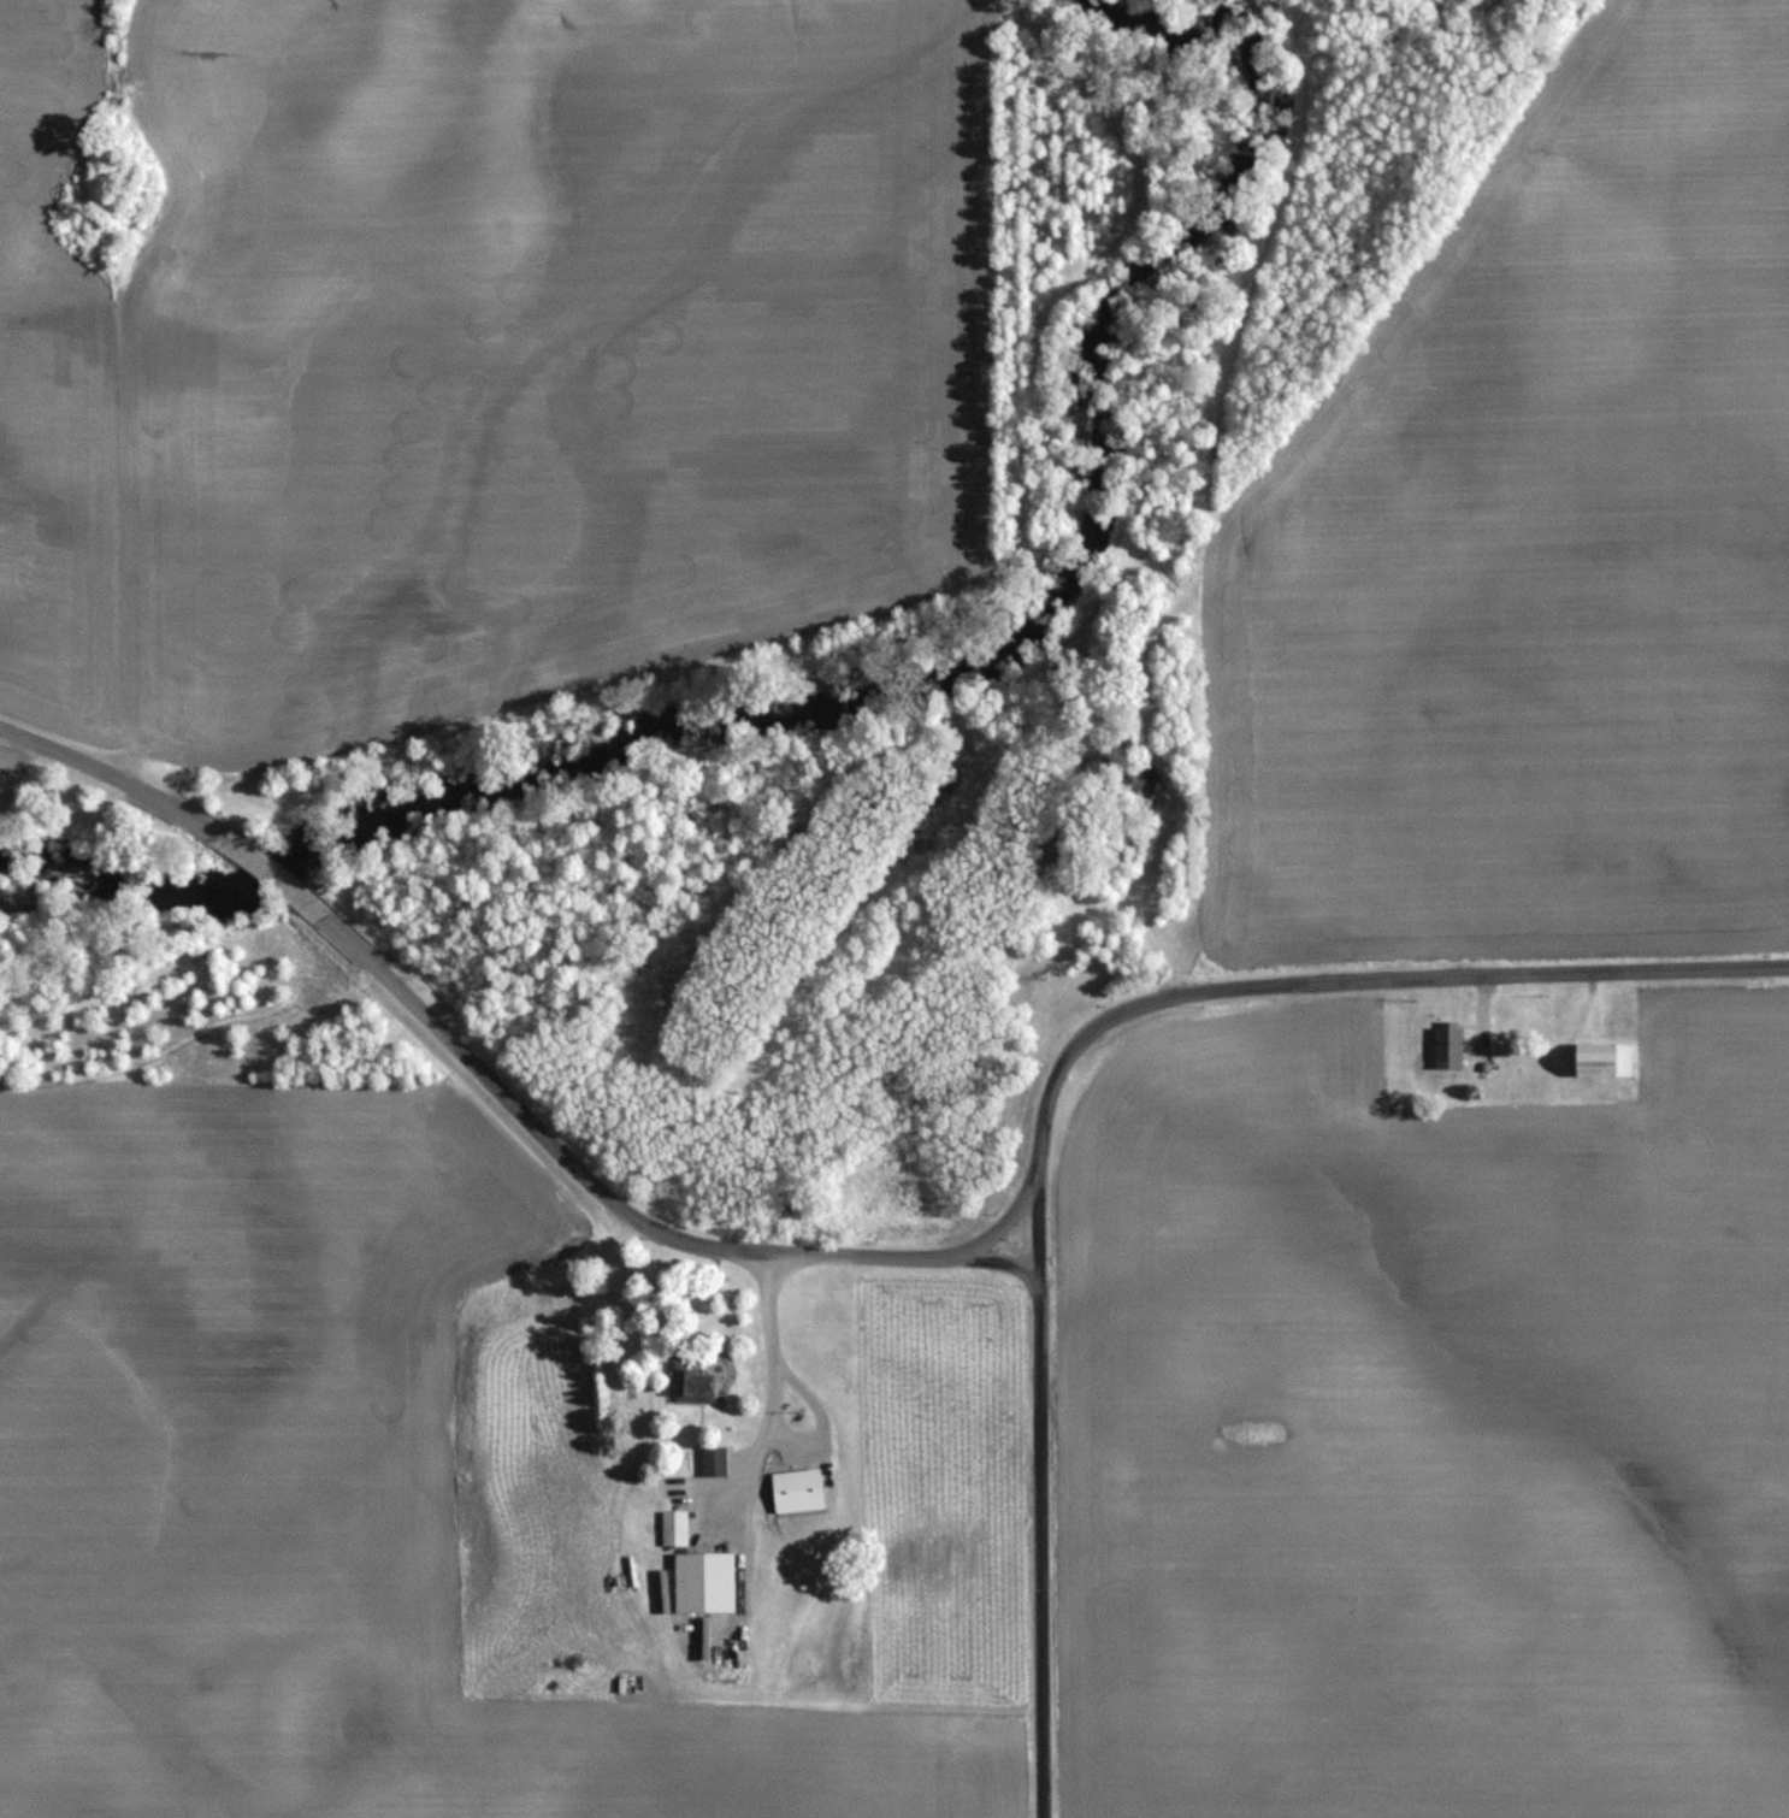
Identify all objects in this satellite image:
crop: (483, 356)
crop: (1531, 527)
road: (123, 778)
road: (273, 873)
road: (1298, 984)
road: (589, 1181)
road: (1038, 1228)
road: (1003, 1264)
crop: (1440, 1438)
crop: (308, 1492)
road: (1040, 1550)

